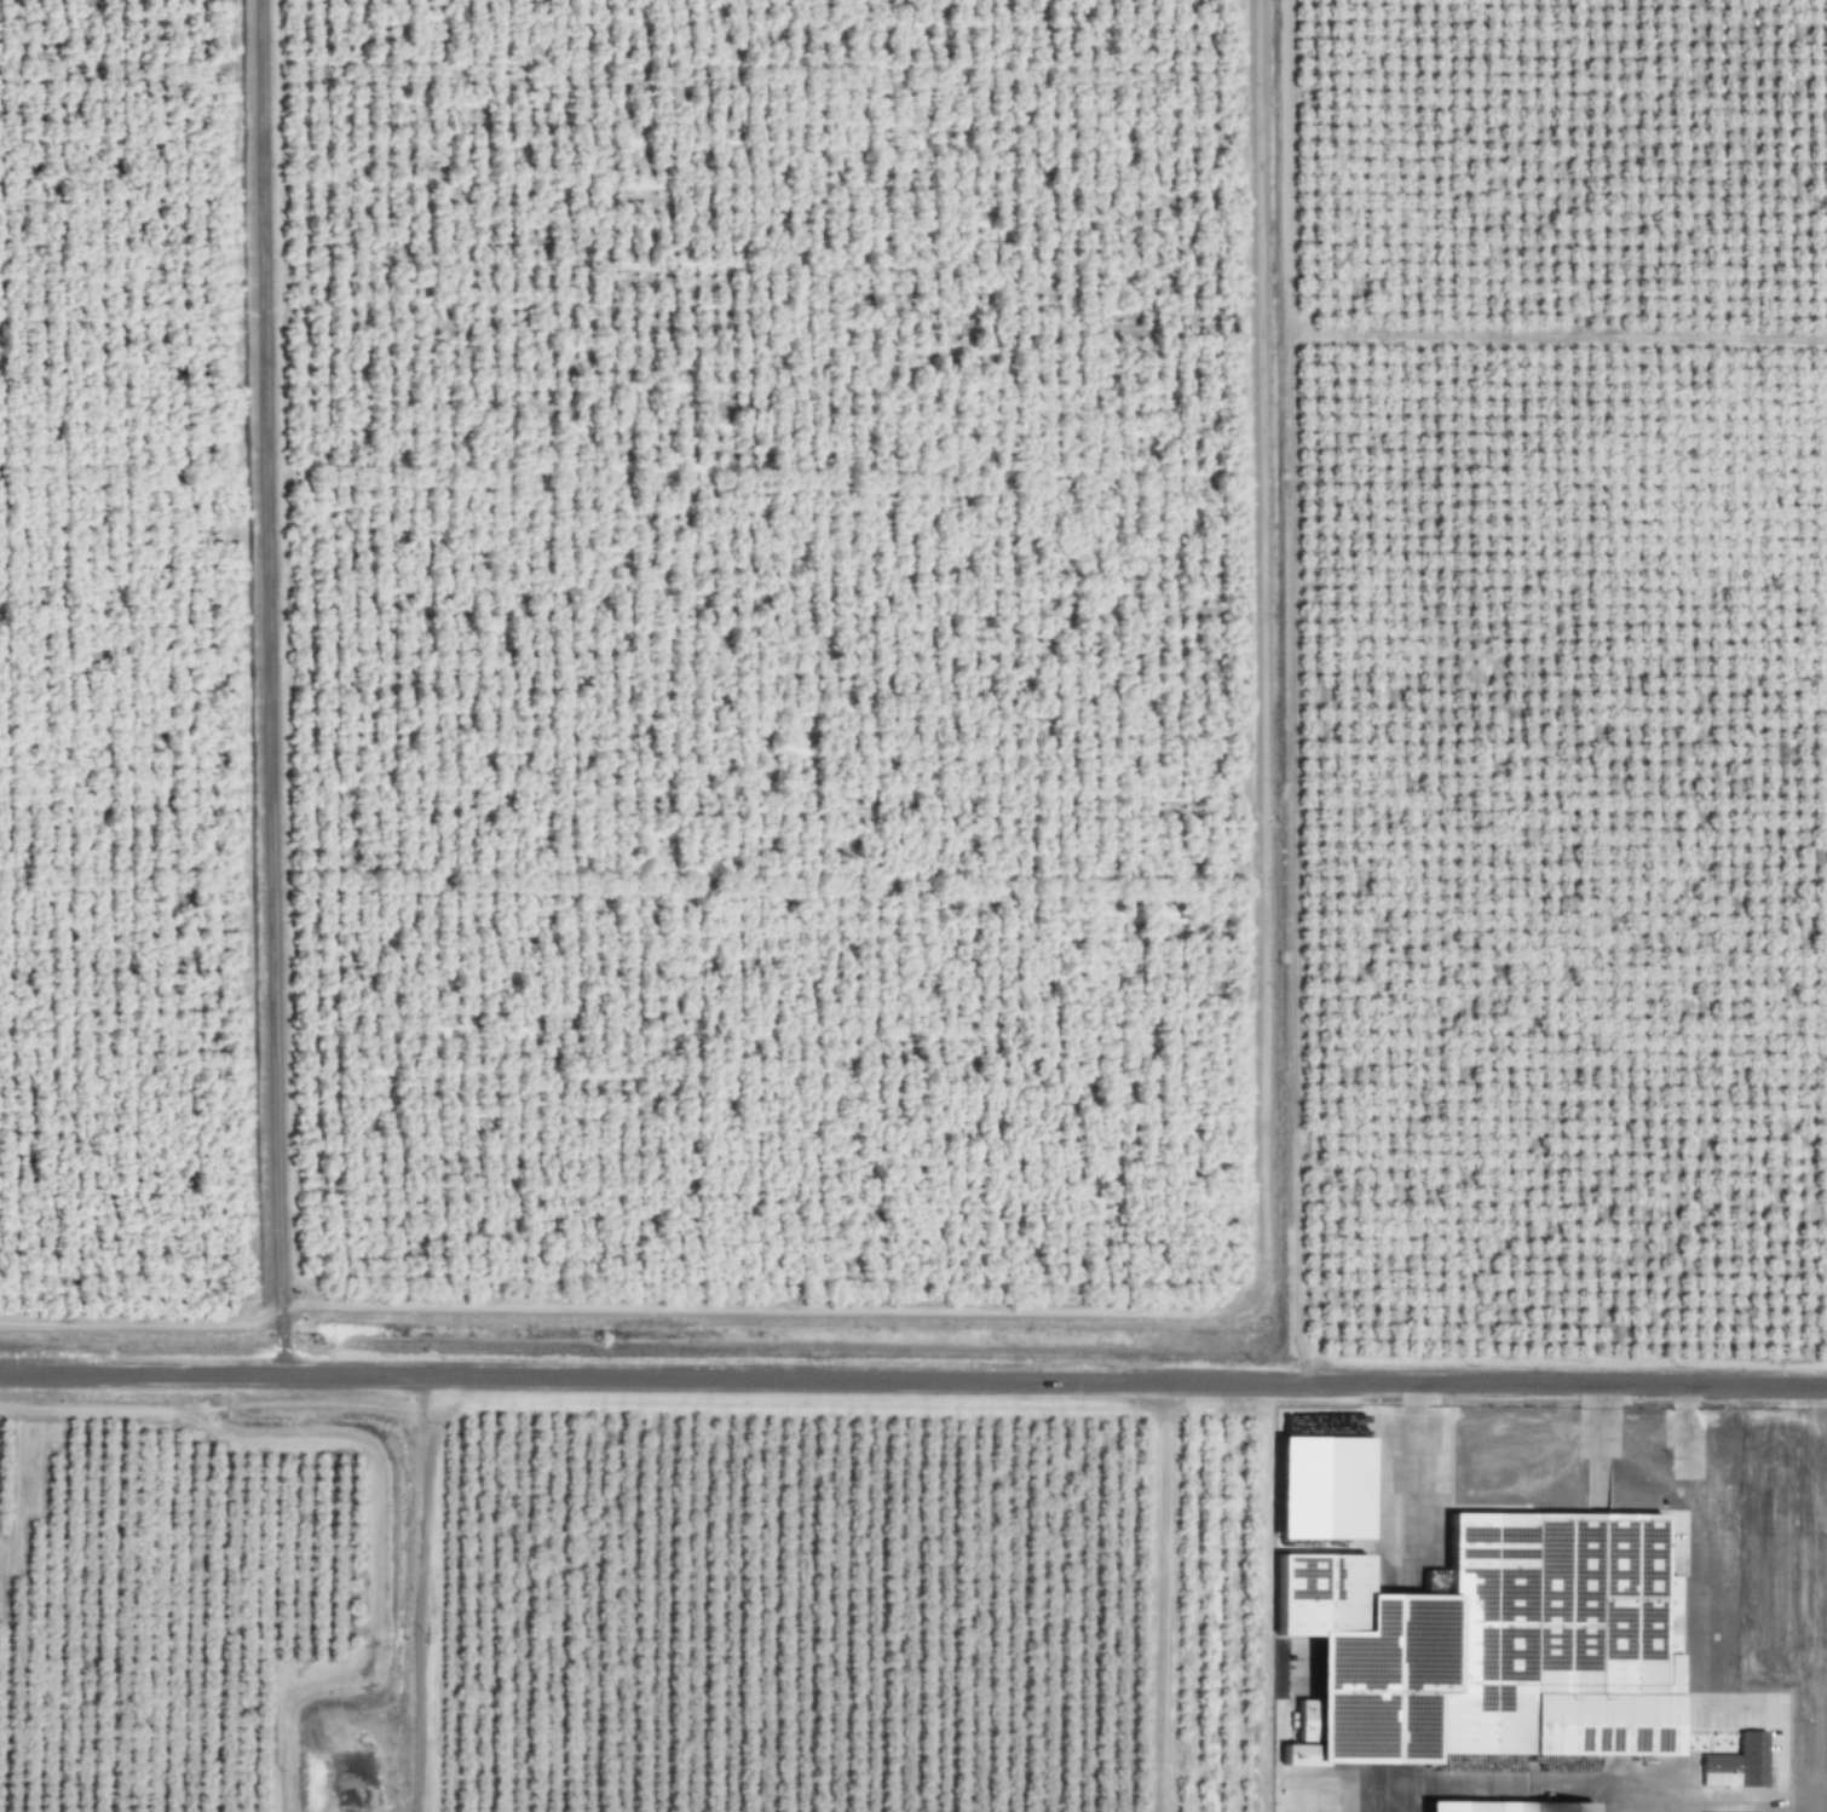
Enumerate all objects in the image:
road: (912, 1380)
road: (1662, 1428)
road: (1509, 1430)
building: (1312, 1489)
road: (417, 1590)
road: (1162, 1597)
road: (1776, 1601)
building: (1494, 1638)
building: (1733, 1765)
building: (1498, 1807)

